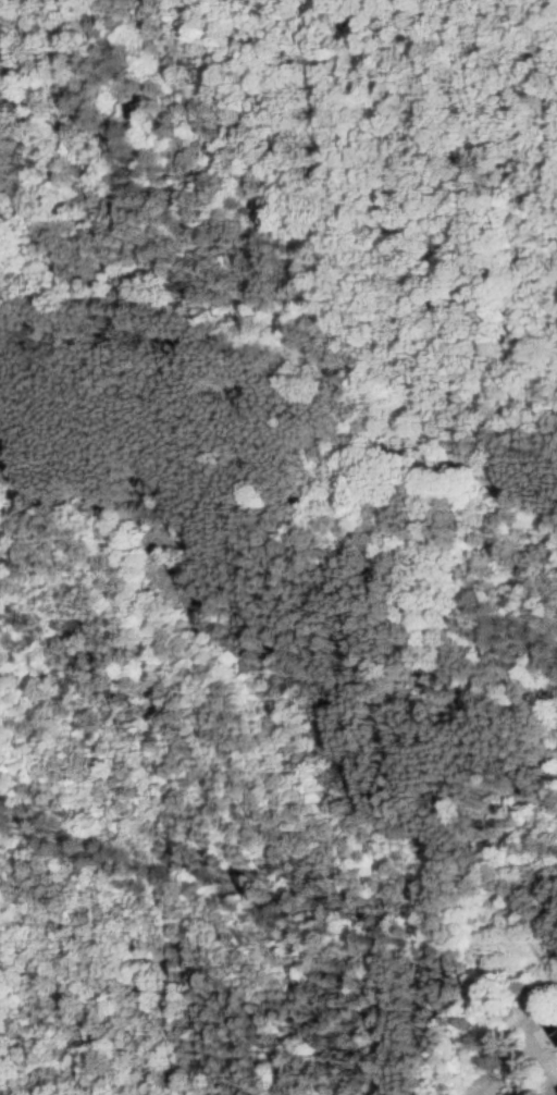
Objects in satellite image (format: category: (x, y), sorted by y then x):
building: (554, 1029)

